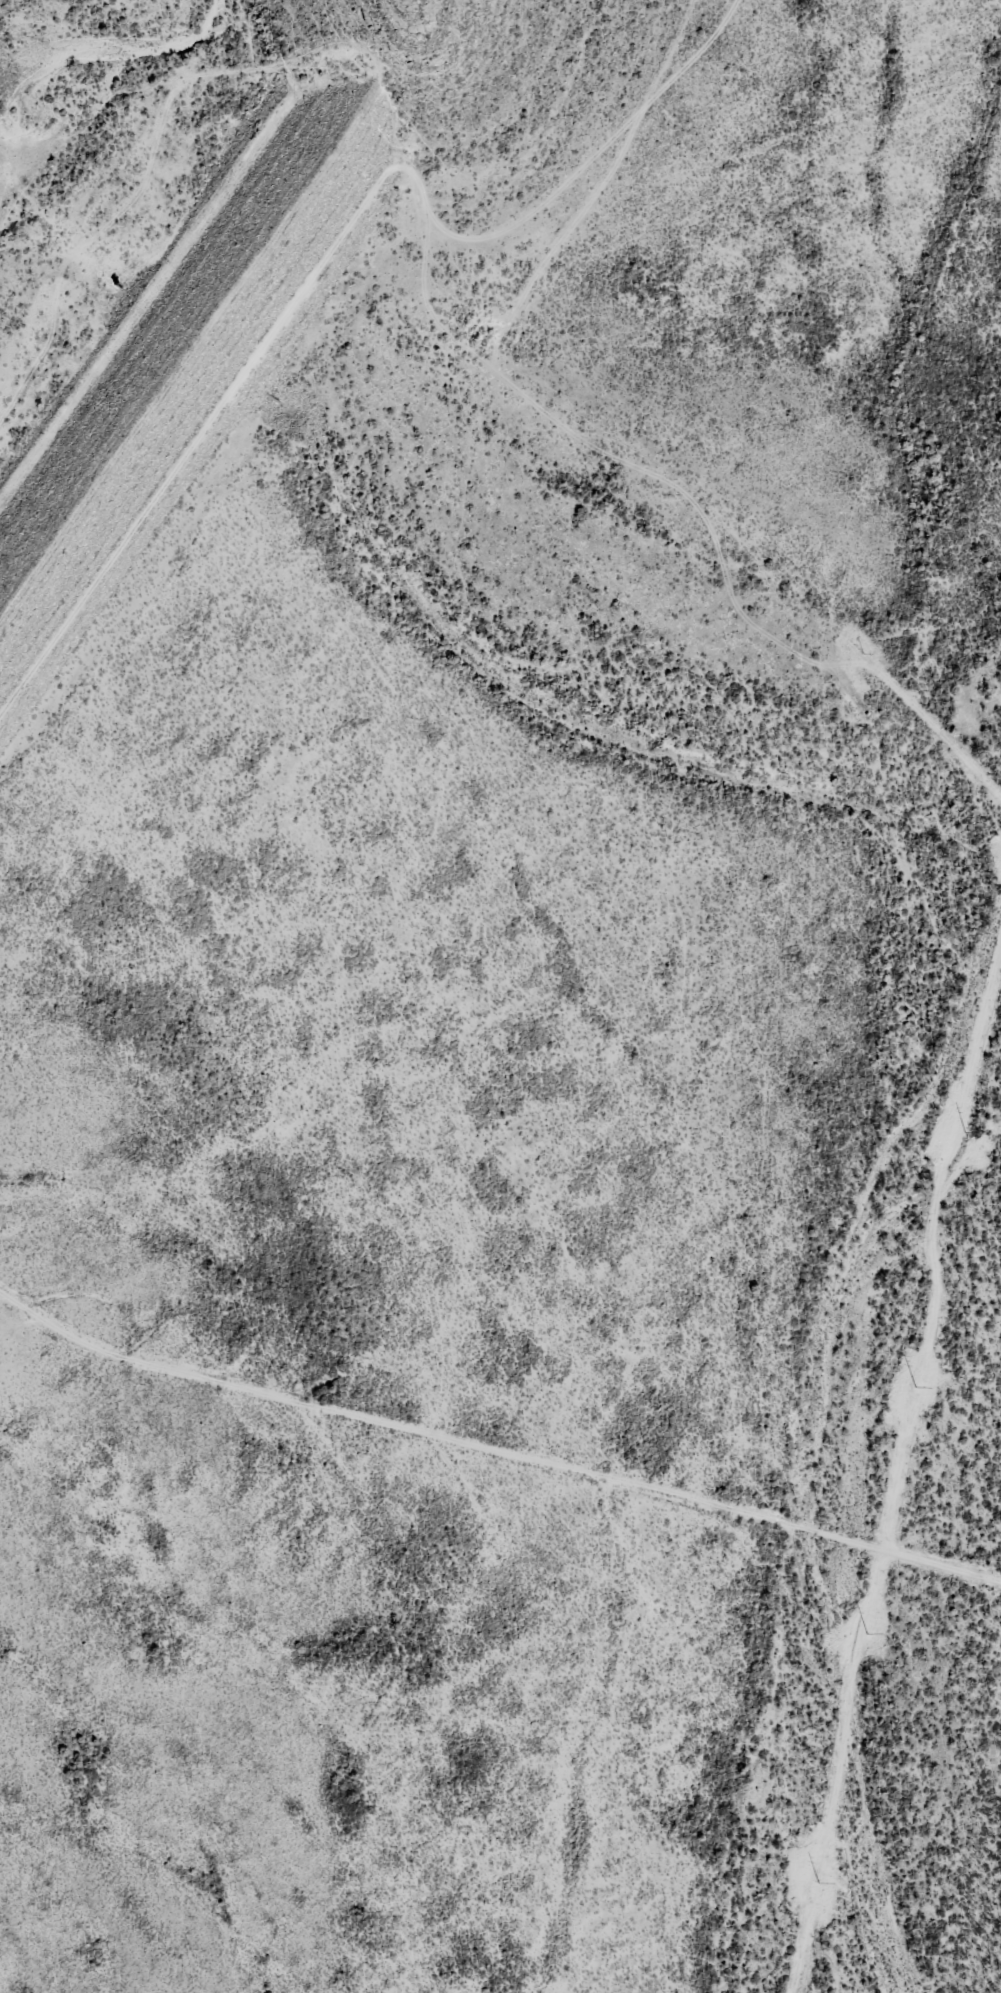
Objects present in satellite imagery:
road: (338, 237)
road: (494, 1449)

